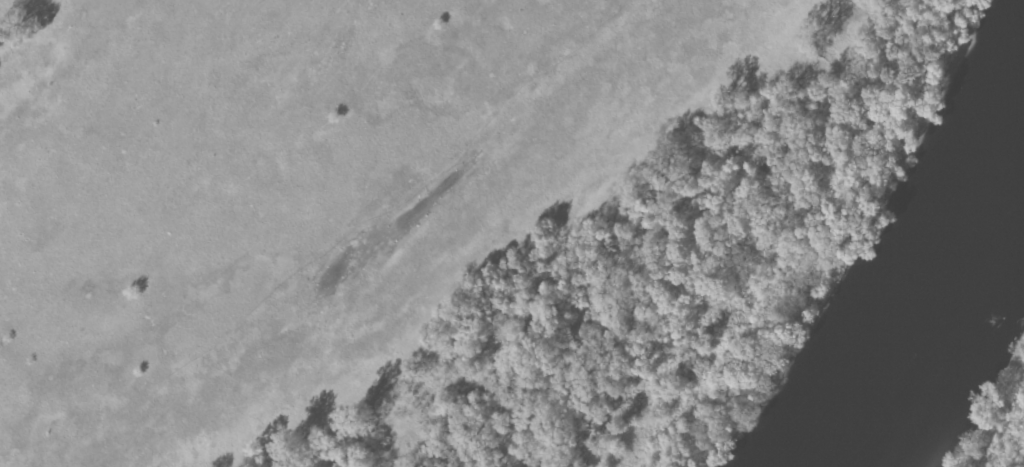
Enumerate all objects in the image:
river: (927, 247)

